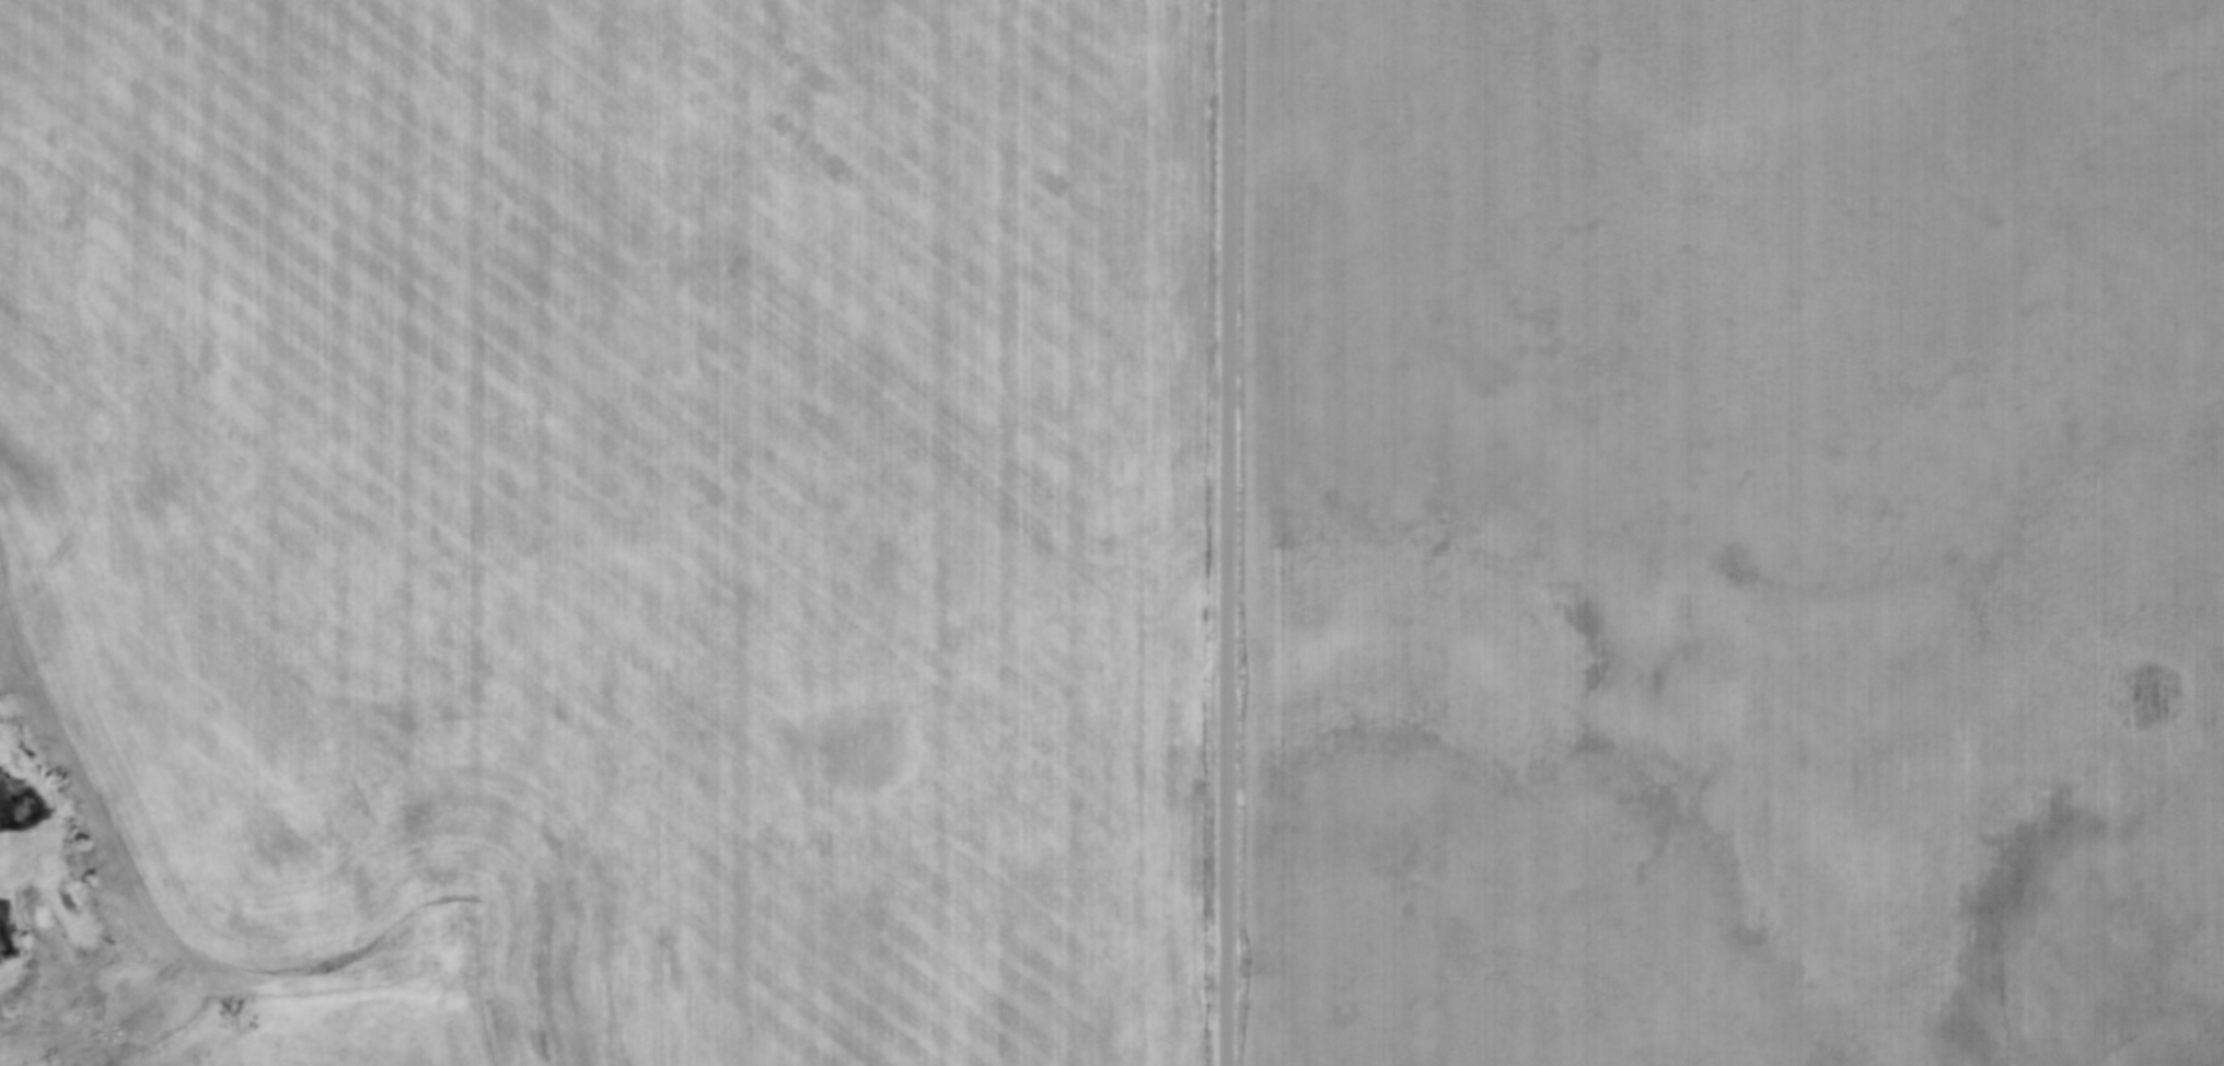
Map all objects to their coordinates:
road: (1229, 532)

